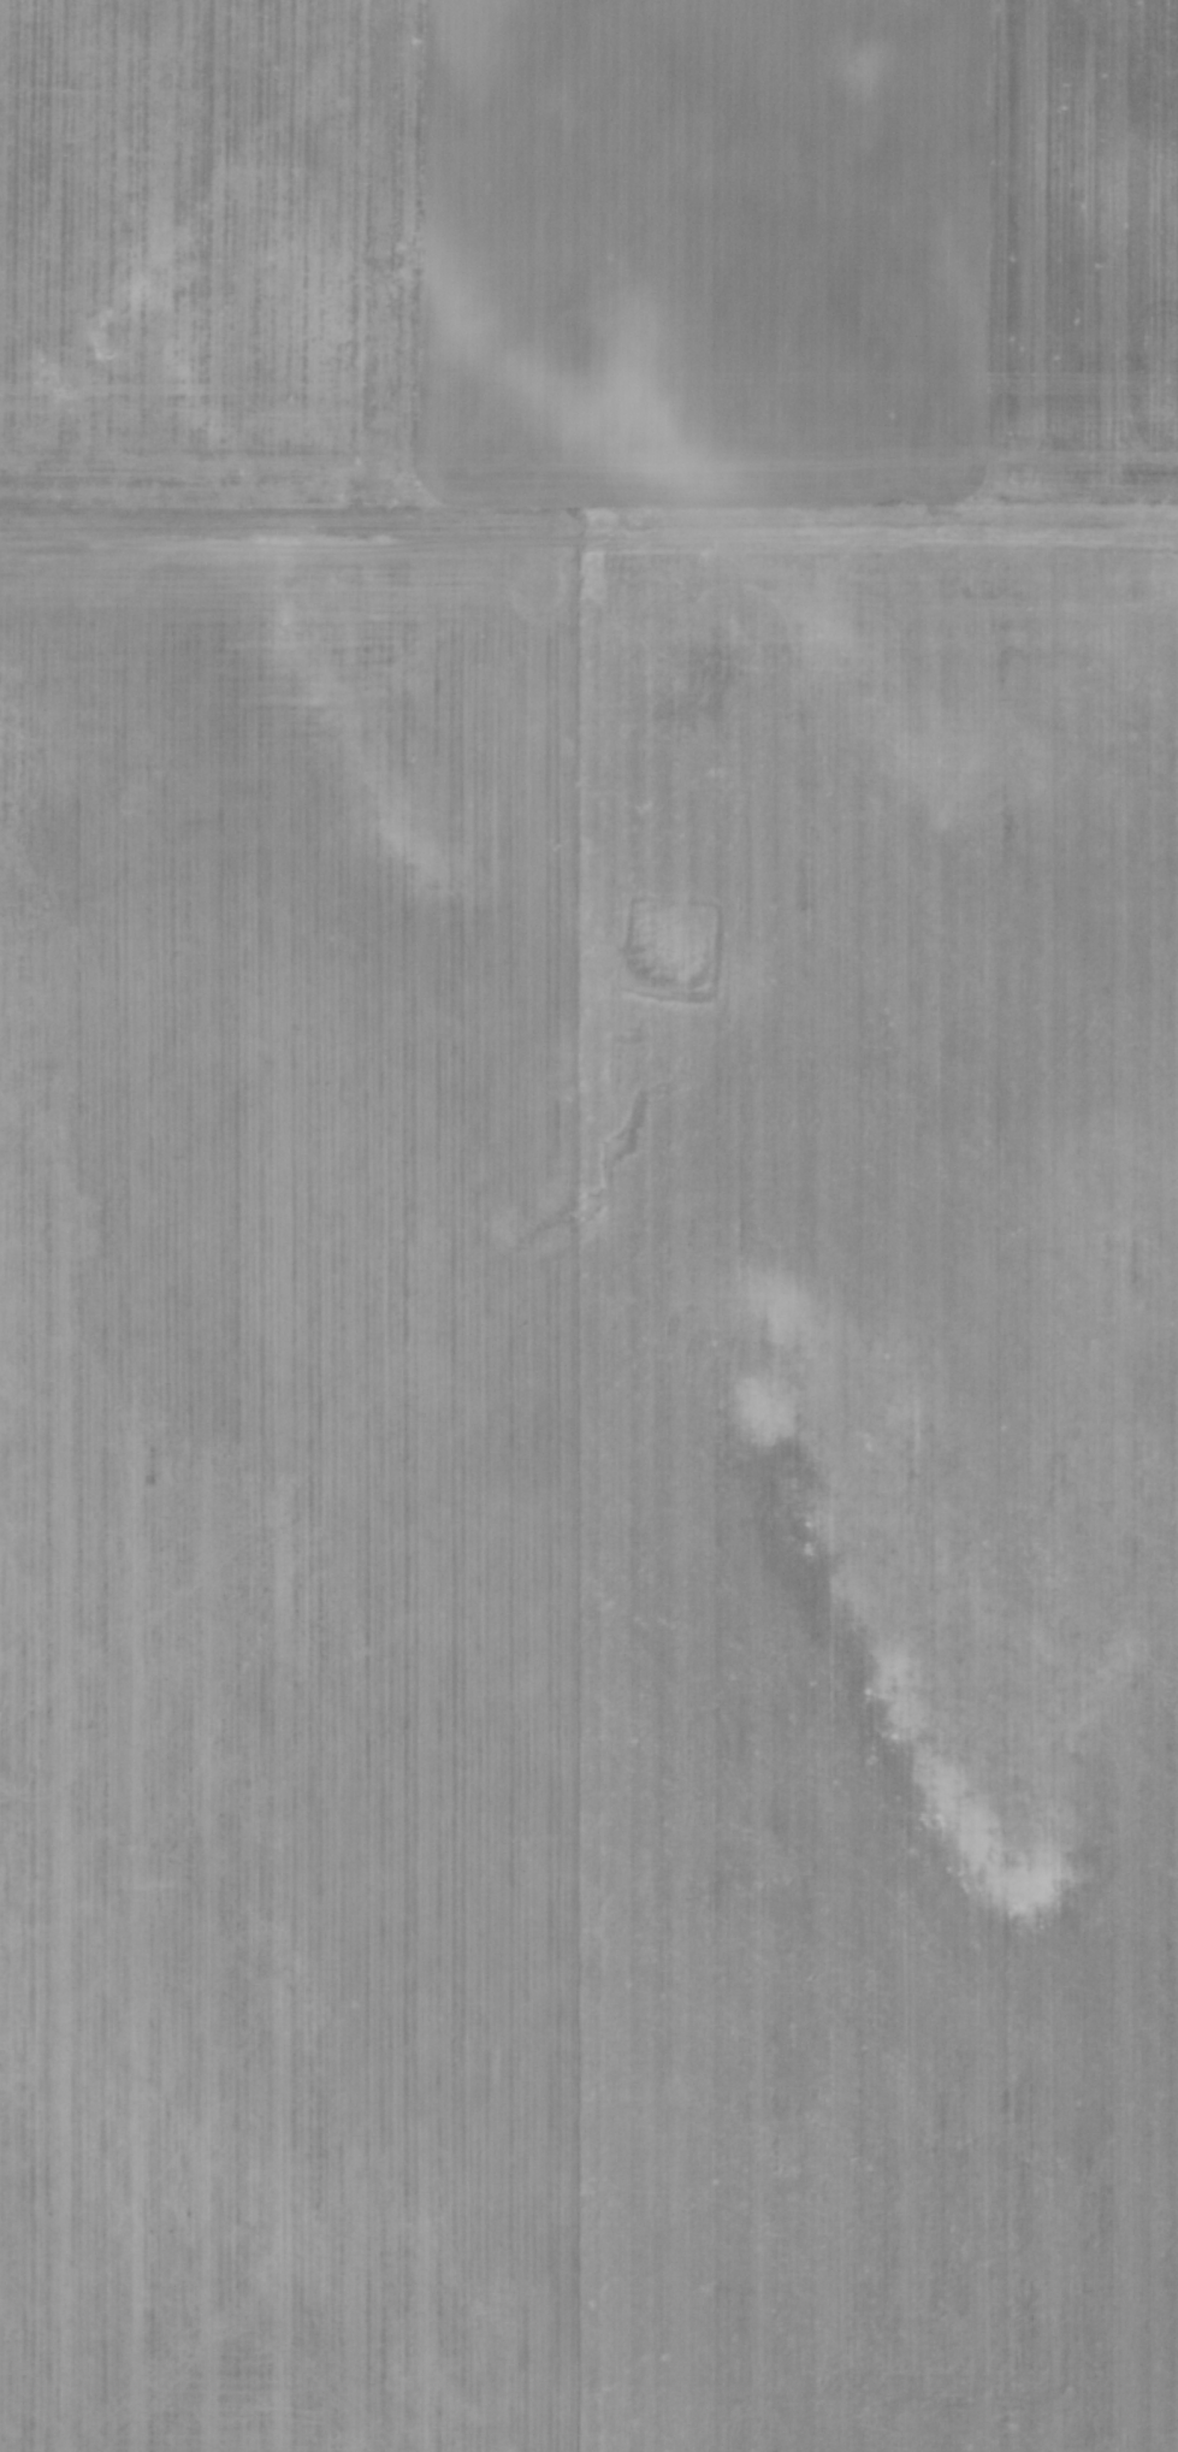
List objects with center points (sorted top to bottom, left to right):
crop: (588, 1225)

